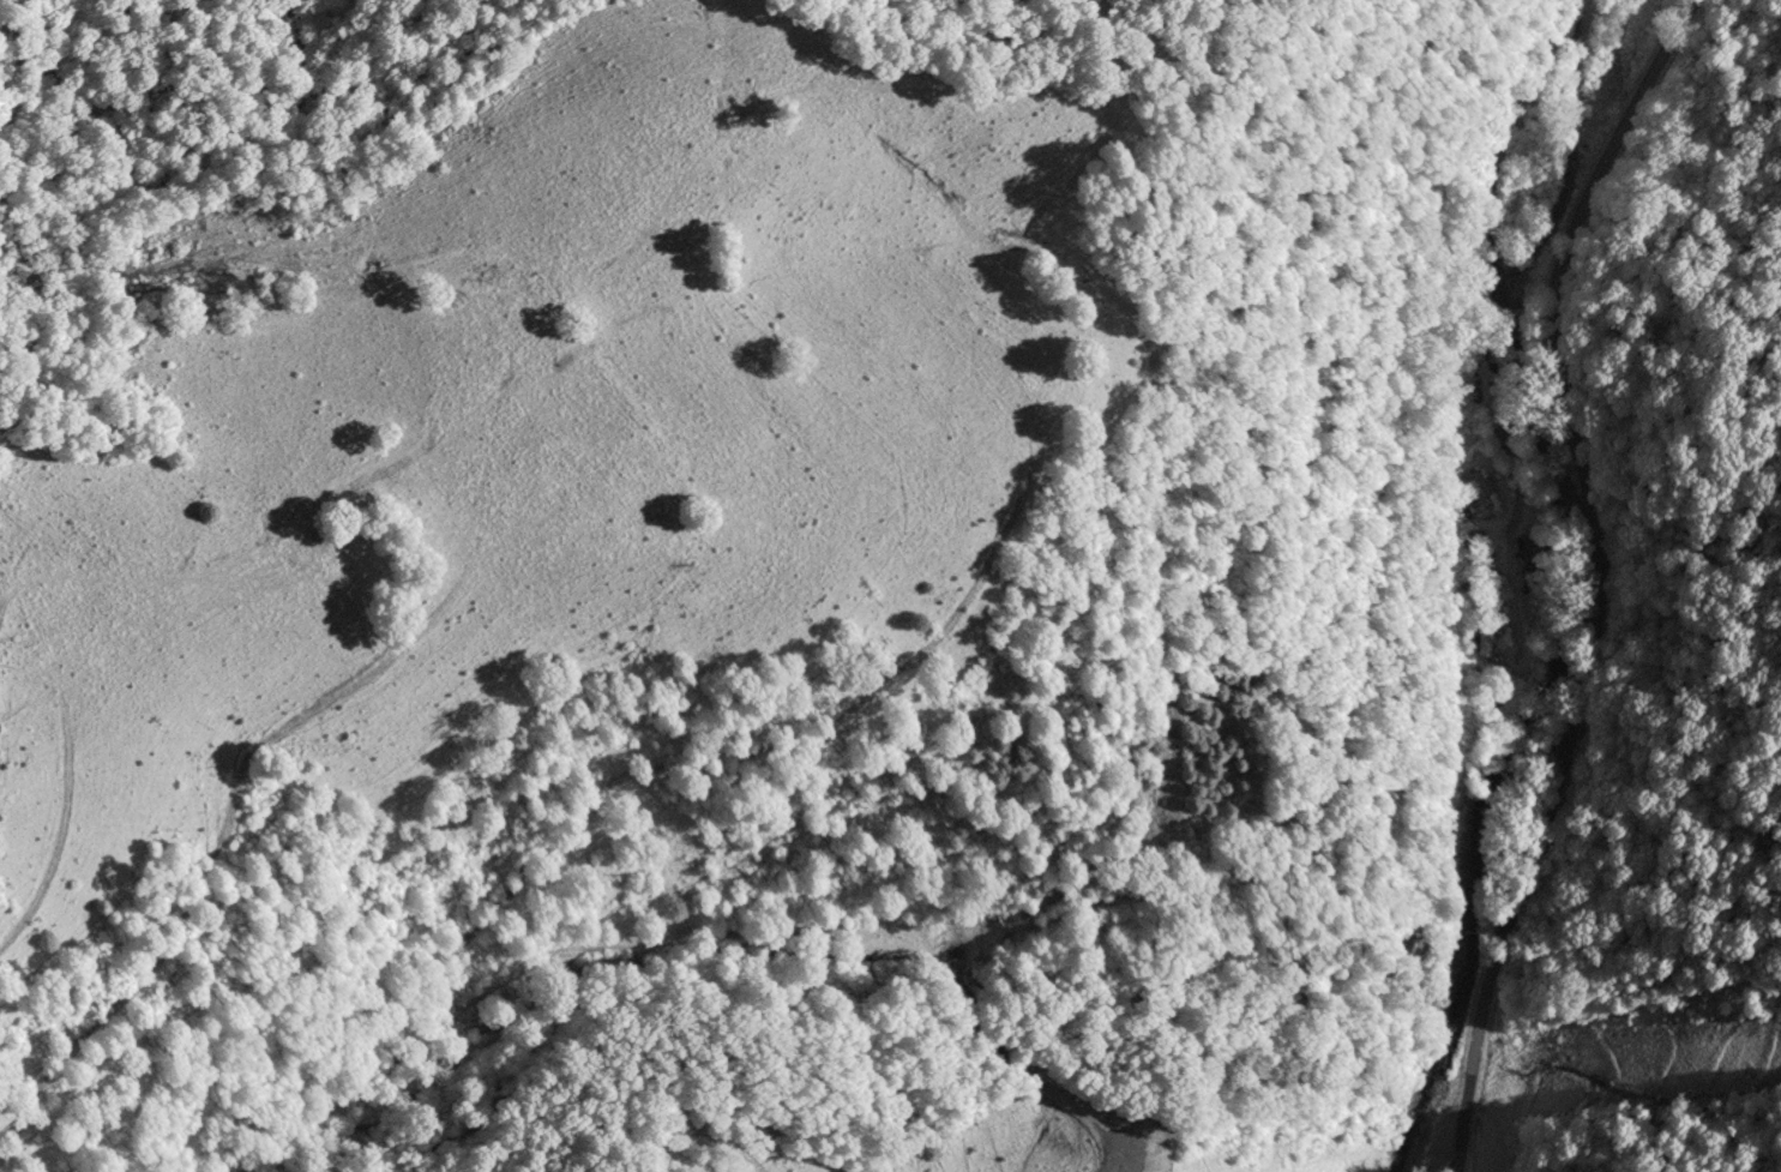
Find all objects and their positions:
road: (1564, 404)
road: (1539, 411)
building: (1479, 497)
road: (1518, 524)
building: (1480, 549)
road: (1598, 573)
building: (1486, 638)
building: (1412, 949)

